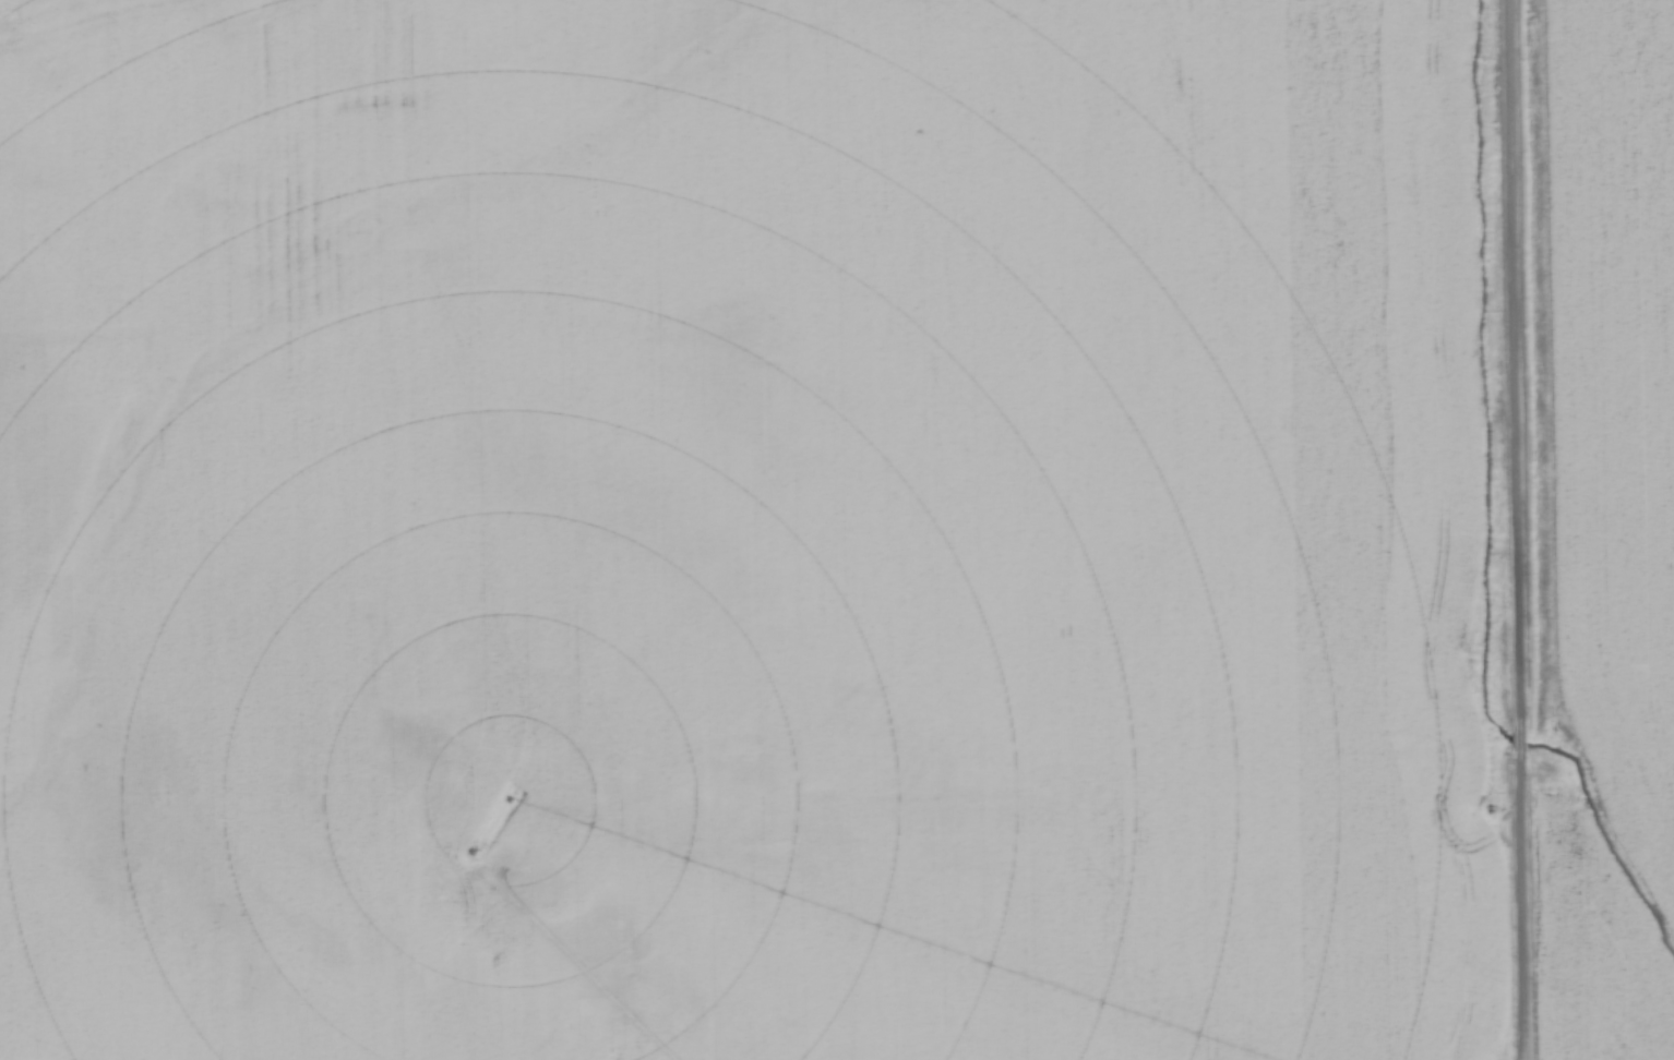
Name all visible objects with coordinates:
road: (1514, 364)
road: (1518, 739)
road: (1521, 904)

